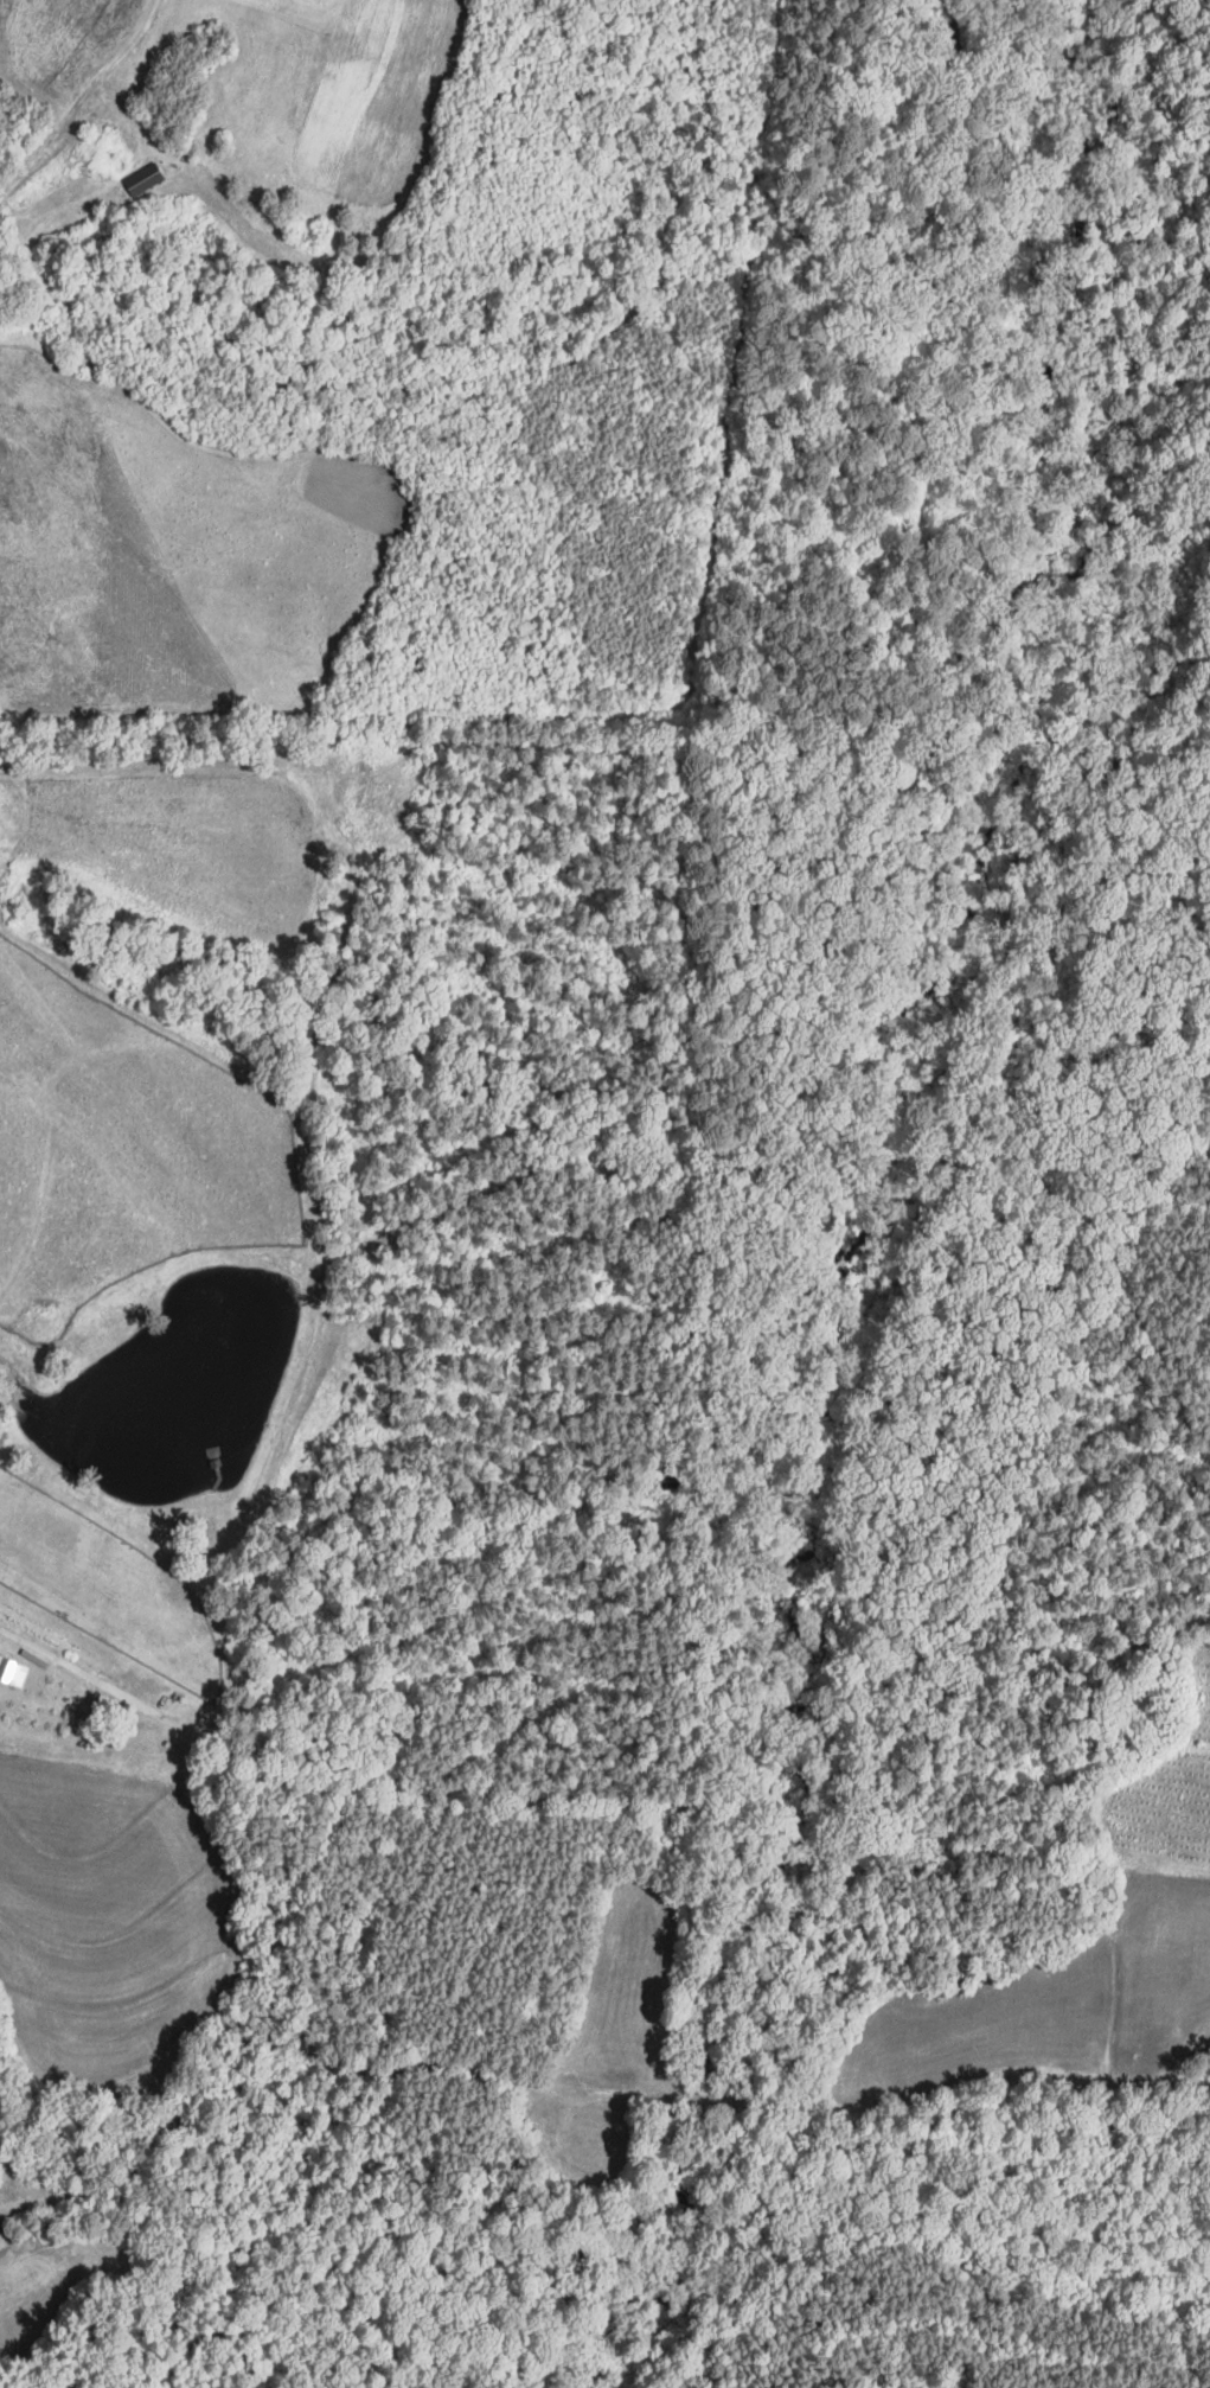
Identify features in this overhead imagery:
road: (81, 95)
road: (219, 1629)

